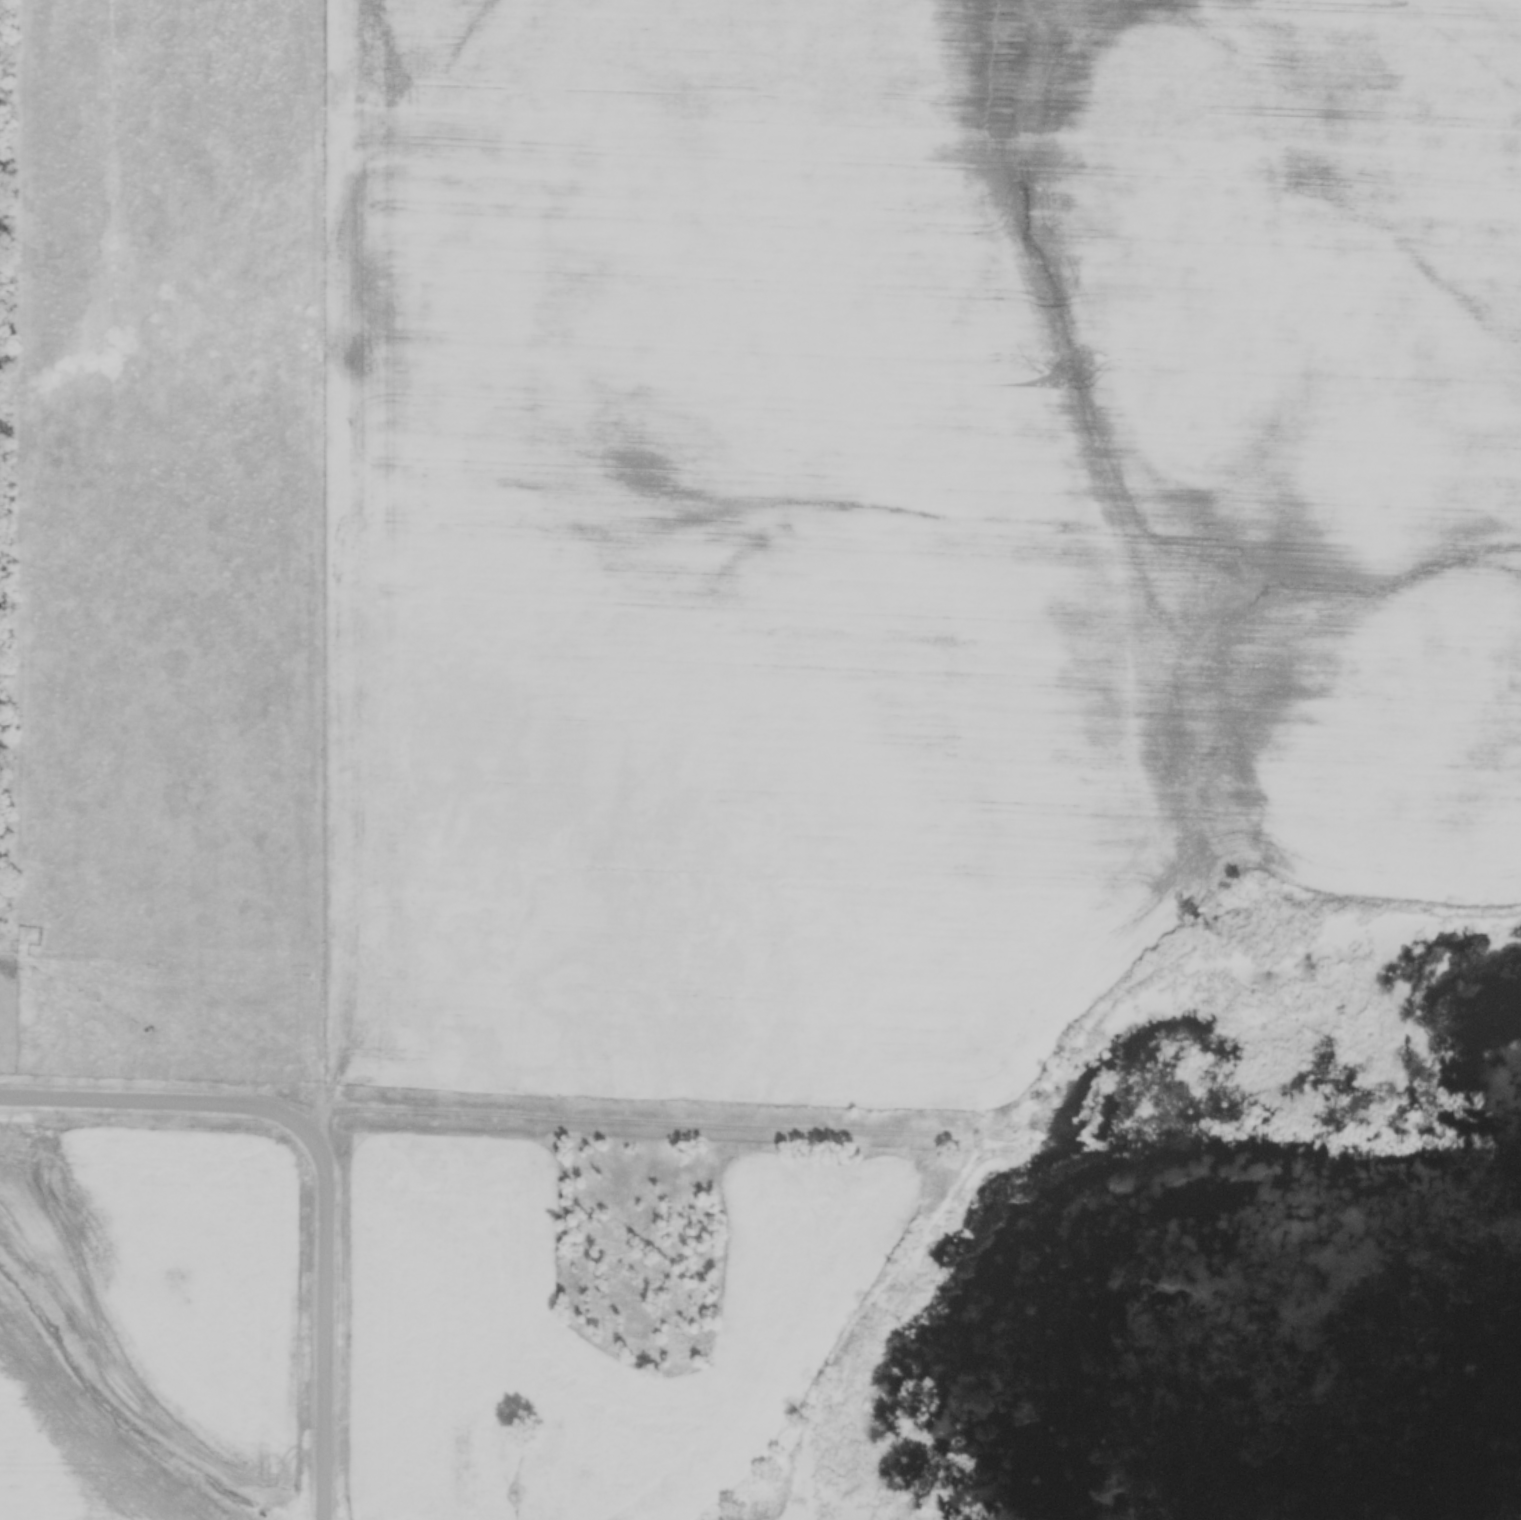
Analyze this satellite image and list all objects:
road: (162, 1102)
road: (636, 1120)
road: (325, 1314)

